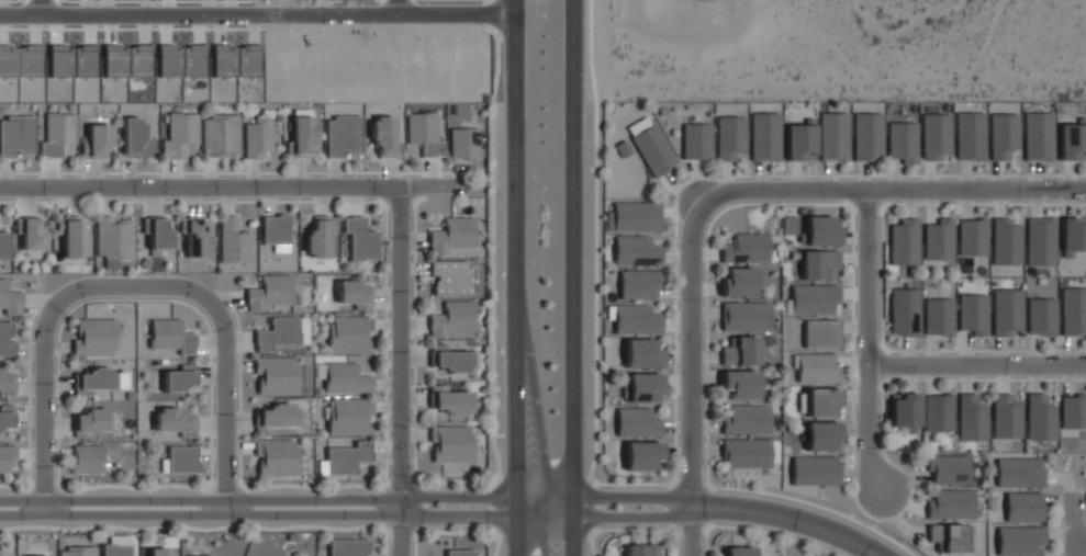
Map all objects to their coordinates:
road: (395, 4)
road: (37, 5)
road: (257, 10)
building: (137, 60)
building: (180, 60)
building: (223, 60)
building: (246, 60)
building: (82, 69)
building: (934, 132)
building: (56, 133)
building: (424, 133)
building: (179, 134)
building: (14, 135)
building: (219, 135)
building: (302, 135)
building: (342, 135)
building: (383, 136)
building: (764, 136)
building: (832, 136)
building: (866, 136)
building: (970, 136)
building: (1004, 136)
building: (1038, 136)
building: (131, 137)
building: (257, 137)
building: (729, 137)
building: (96, 140)
building: (696, 140)
building: (799, 140)
building: (1072, 140)
building: (902, 141)
road: (514, 143)
building: (462, 144)
building: (650, 145)
road: (228, 186)
road: (893, 190)
building: (636, 216)
building: (820, 230)
building: (275, 231)
building: (451, 234)
building: (31, 235)
building: (156, 235)
building: (71, 236)
building: (320, 236)
building: (195, 237)
building: (972, 237)
building: (1071, 237)
building: (359, 239)
building: (938, 239)
building: (112, 240)
building: (233, 241)
building: (904, 241)
building: (1005, 241)
building: (1040, 241)
building: (3, 246)
building: (744, 248)
building: (635, 251)
building: (818, 264)
building: (449, 276)
road: (574, 277)
building: (738, 282)
building: (638, 283)
building: (271, 291)
building: (354, 294)
building: (814, 298)
building: (10, 299)
building: (904, 311)
building: (1006, 311)
building: (1073, 313)
building: (972, 314)
building: (743, 316)
building: (938, 316)
building: (1039, 317)
building: (451, 318)
building: (635, 319)
building: (820, 332)
building: (277, 333)
building: (348, 333)
building: (170, 336)
building: (93, 337)
building: (4, 340)
road: (869, 341)
building: (740, 352)
building: (641, 353)
building: (449, 359)
road: (223, 362)
road: (41, 363)
road: (977, 365)
building: (816, 367)
road: (399, 371)
building: (276, 376)
building: (178, 377)
road: (691, 377)
building: (346, 378)
building: (92, 381)
building: (5, 383)
building: (739, 384)
building: (643, 387)
building: (450, 400)
building: (820, 400)
building: (1073, 411)
building: (904, 412)
building: (938, 412)
building: (5, 416)
building: (348, 416)
building: (275, 417)
building: (1006, 417)
building: (971, 418)
building: (1039, 418)
building: (744, 419)
building: (175, 421)
road: (513, 421)
building: (89, 422)
building: (637, 422)
building: (820, 435)
building: (451, 443)
building: (744, 453)
building: (641, 455)
building: (7, 457)
building: (276, 457)
building: (347, 457)
building: (181, 458)
building: (86, 459)
building: (948, 468)
building: (814, 470)
building: (1019, 472)
building: (950, 503)
road: (545, 506)
road: (257, 507)
road: (730, 507)
building: (1023, 507)
road: (1074, 525)
road: (705, 527)
road: (635, 530)
road: (760, 531)
building: (950, 536)
building: (1019, 540)
road: (1079, 541)
building: (116, 546)
building: (347, 547)
building: (642, 549)
building: (158, 551)
building: (737, 551)
building: (2, 552)
building: (76, 552)
building: (459, 553)
building: (29, 555)

